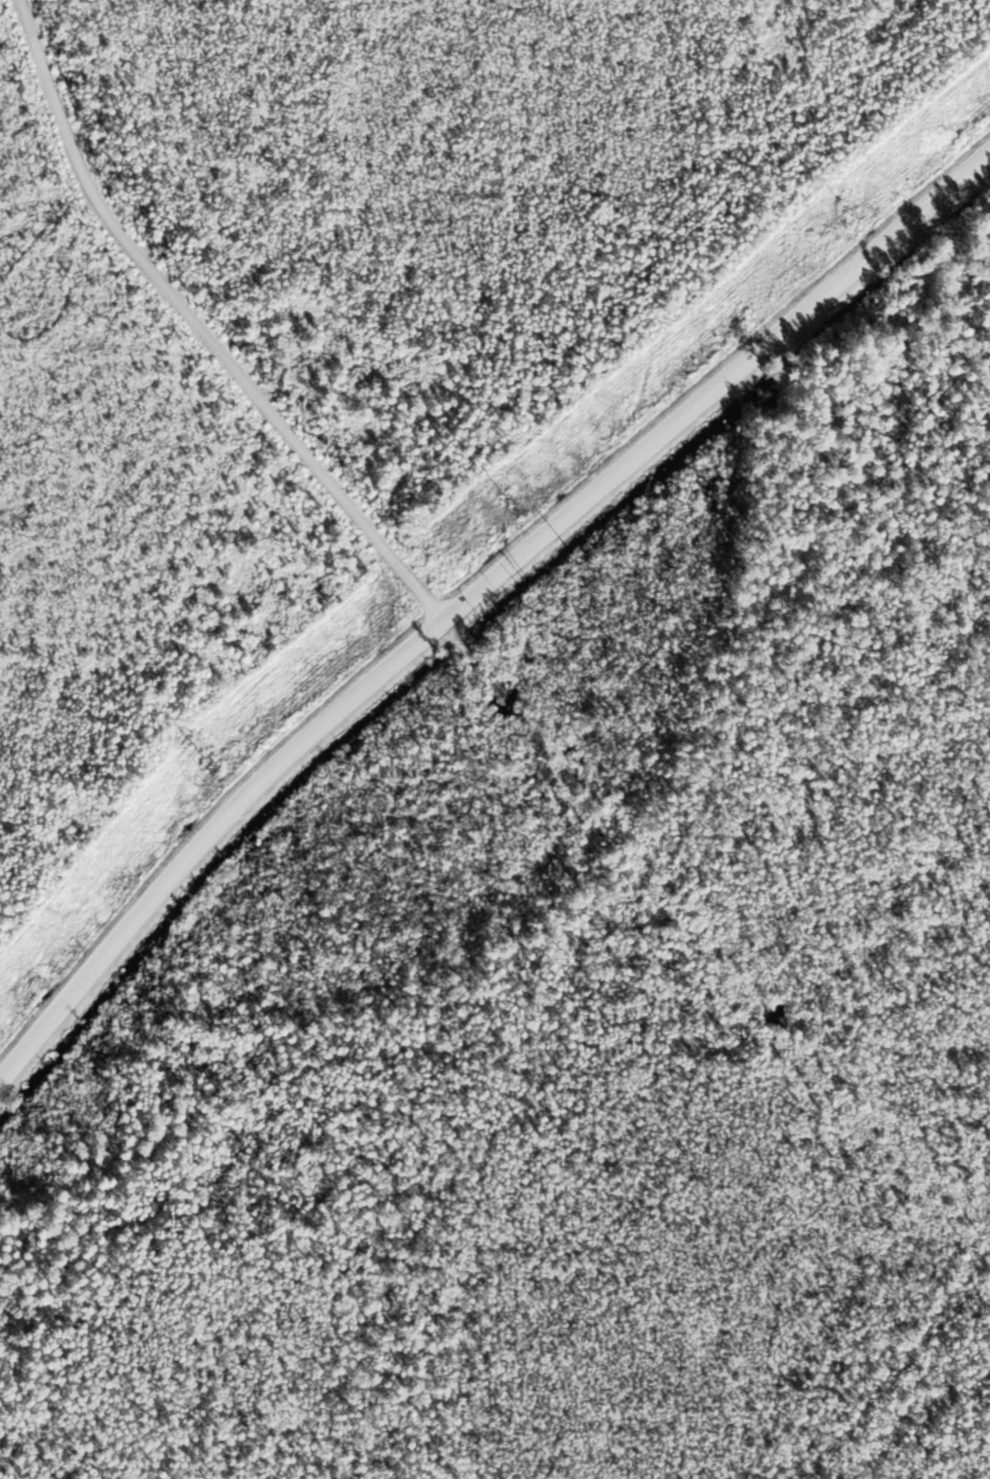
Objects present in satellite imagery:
power tower: (846, 210)
road: (200, 328)
power tower: (508, 503)
road: (473, 595)
power tower: (202, 756)

